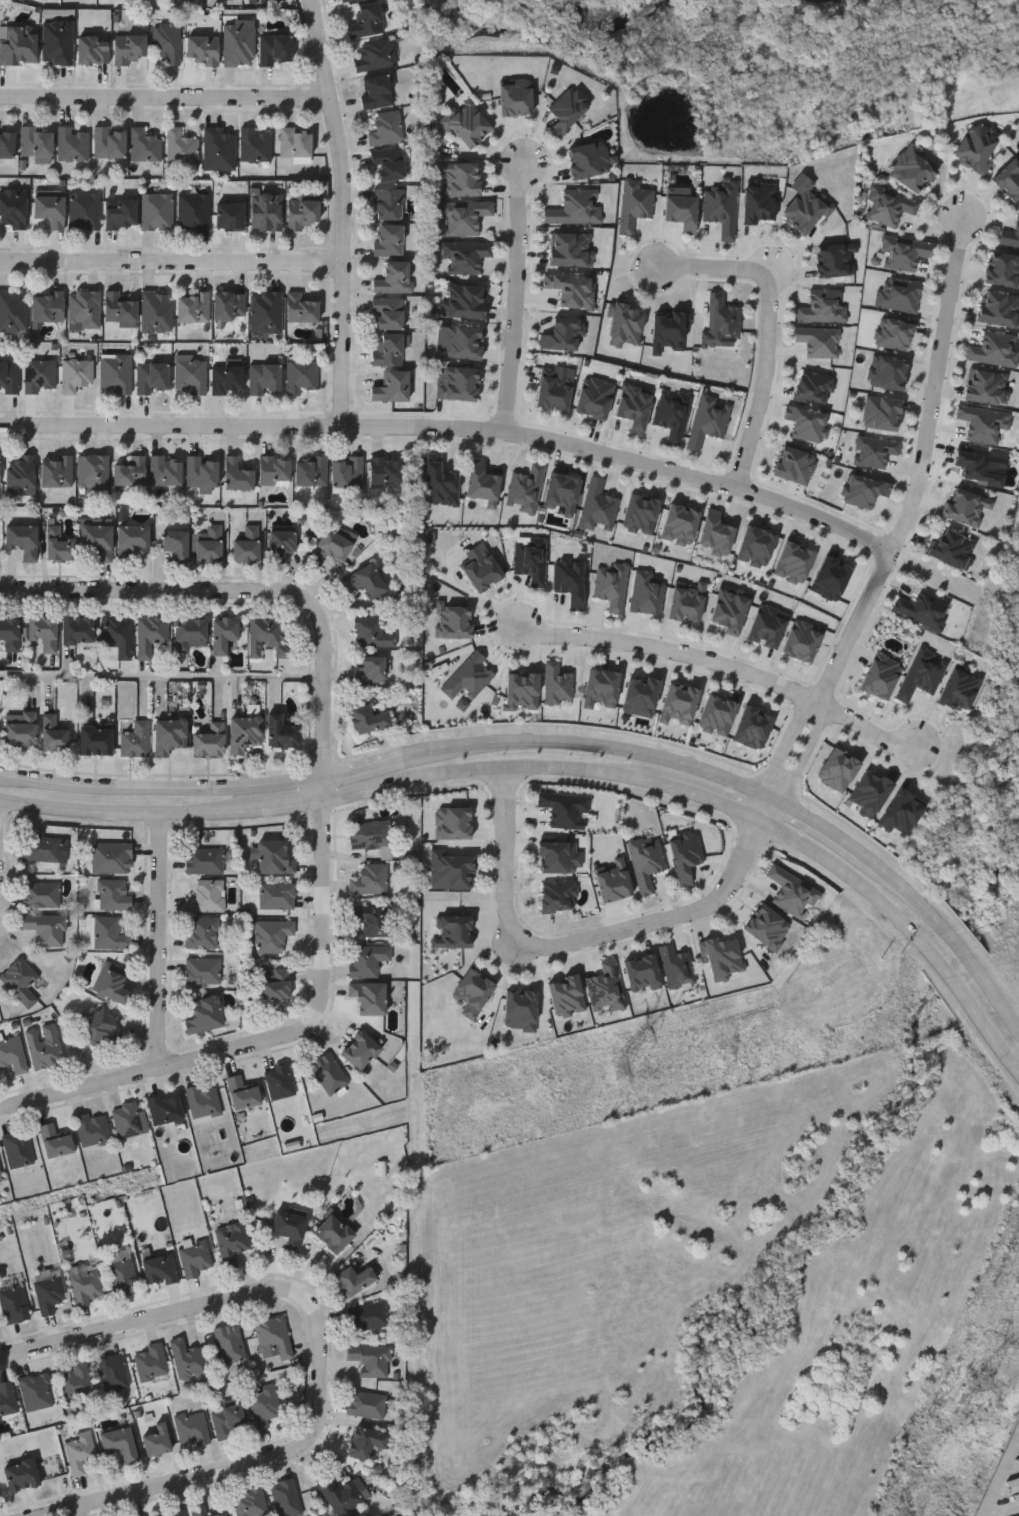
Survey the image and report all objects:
building: (349, 1)
building: (0, 7)
building: (366, 21)
building: (57, 43)
building: (168, 43)
building: (239, 45)
building: (19, 46)
building: (130, 49)
building: (93, 50)
building: (203, 50)
building: (275, 50)
building: (374, 55)
park: (771, 56)
building: (377, 92)
road: (169, 103)
building: (566, 111)
building: (387, 129)
building: (111, 143)
building: (296, 143)
building: (7, 144)
building: (37, 145)
building: (72, 145)
building: (256, 145)
building: (145, 146)
building: (181, 148)
building: (220, 149)
building: (389, 164)
building: (1009, 181)
building: (389, 204)
building: (634, 205)
building: (805, 207)
building: (13, 209)
building: (573, 209)
building: (50, 211)
building: (194, 211)
building: (720, 211)
building: (86, 212)
building: (158, 212)
building: (266, 212)
building: (681, 212)
building: (302, 213)
road: (348, 213)
building: (123, 215)
building: (230, 217)
building: (389, 240)
building: (904, 253)
building: (465, 255)
road: (173, 263)
road: (711, 267)
building: (394, 278)
road: (519, 298)
building: (229, 306)
building: (47, 308)
building: (120, 308)
building: (193, 308)
building: (302, 309)
building: (85, 311)
building: (13, 312)
building: (158, 312)
building: (267, 313)
building: (389, 314)
building: (721, 322)
building: (624, 325)
building: (668, 331)
building: (389, 350)
building: (992, 351)
building: (116, 374)
building: (40, 375)
building: (77, 375)
building: (191, 375)
building: (303, 377)
building: (9, 378)
building: (152, 378)
building: (265, 380)
building: (228, 381)
road: (766, 383)
building: (458, 385)
building: (393, 388)
building: (985, 388)
building: (553, 391)
building: (880, 414)
building: (707, 420)
building: (980, 424)
road: (455, 430)
building: (793, 464)
building: (979, 466)
building: (166, 469)
road: (923, 469)
building: (0, 470)
building: (275, 470)
building: (386, 470)
building: (57, 471)
building: (131, 471)
building: (311, 471)
building: (349, 471)
building: (93, 473)
building: (203, 473)
building: (21, 474)
building: (238, 474)
building: (481, 484)
building: (561, 492)
building: (964, 506)
building: (597, 507)
building: (22, 536)
building: (133, 536)
building: (99, 540)
building: (177, 543)
building: (282, 543)
building: (59, 544)
building: (210, 545)
building: (247, 545)
building: (332, 545)
building: (951, 547)
building: (481, 571)
building: (830, 578)
building: (366, 580)
building: (610, 586)
building: (646, 592)
road: (244, 594)
building: (686, 602)
building: (923, 608)
building: (729, 611)
building: (78, 629)
building: (373, 631)
building: (10, 632)
building: (44, 632)
building: (191, 632)
building: (224, 632)
building: (118, 634)
building: (151, 634)
building: (267, 636)
road: (728, 666)
building: (371, 669)
road: (161, 676)
building: (467, 677)
building: (640, 695)
building: (369, 719)
building: (21, 729)
building: (245, 732)
building: (282, 732)
building: (56, 733)
building: (170, 735)
building: (96, 740)
building: (136, 740)
building: (210, 740)
road: (581, 740)
road: (788, 743)
road: (805, 752)
road: (358, 769)
road: (564, 769)
road: (162, 793)
road: (774, 796)
road: (762, 806)
building: (563, 808)
road: (774, 811)
building: (452, 823)
road: (825, 823)
building: (370, 835)
building: (40, 848)
road: (506, 852)
building: (558, 856)
building: (684, 856)
building: (110, 858)
building: (273, 858)
building: (203, 861)
road: (0, 862)
building: (645, 862)
building: (450, 867)
building: (370, 879)
road: (0, 887)
building: (40, 894)
building: (112, 894)
building: (557, 895)
building: (276, 896)
building: (206, 897)
road: (663, 918)
building: (373, 920)
building: (45, 929)
building: (452, 931)
road: (949, 932)
building: (201, 933)
building: (109, 934)
building: (272, 935)
road: (163, 942)
building: (367, 960)
building: (676, 966)
building: (202, 971)
building: (642, 973)
building: (20, 982)
road: (325, 984)
building: (275, 985)
building: (112, 987)
building: (472, 993)
building: (368, 999)
building: (204, 1015)
building: (97, 1027)
building: (43, 1046)
building: (359, 1051)
building: (12, 1056)
building: (328, 1074)
building: (279, 1081)
power tower: (553, 1086)
road: (81, 1090)
building: (241, 1093)
building: (203, 1103)
building: (164, 1109)
building: (128, 1120)
building: (92, 1130)
building: (55, 1141)
building: (17, 1150)
building: (0, 1178)
building: (289, 1226)
building: (334, 1232)
building: (232, 1241)
building: (195, 1258)
building: (159, 1269)
building: (121, 1271)
building: (353, 1279)
building: (87, 1284)
building: (49, 1289)
building: (13, 1299)
road: (419, 1310)
building: (369, 1315)
road: (178, 1319)
building: (274, 1335)
building: (229, 1342)
building: (370, 1357)
building: (189, 1358)
building: (151, 1361)
building: (113, 1371)
power tower: (990, 1379)
building: (76, 1380)
building: (36, 1390)
building: (7, 1398)
building: (367, 1403)
building: (265, 1404)
building: (227, 1418)
building: (192, 1427)
building: (157, 1439)
building: (365, 1441)
building: (120, 1442)
building: (80, 1452)
road: (246, 1471)
building: (22, 1474)
road: (1002, 1479)
building: (343, 1494)
building: (286, 1497)
building: (250, 1502)
building: (204, 1509)
building: (173, 1512)

